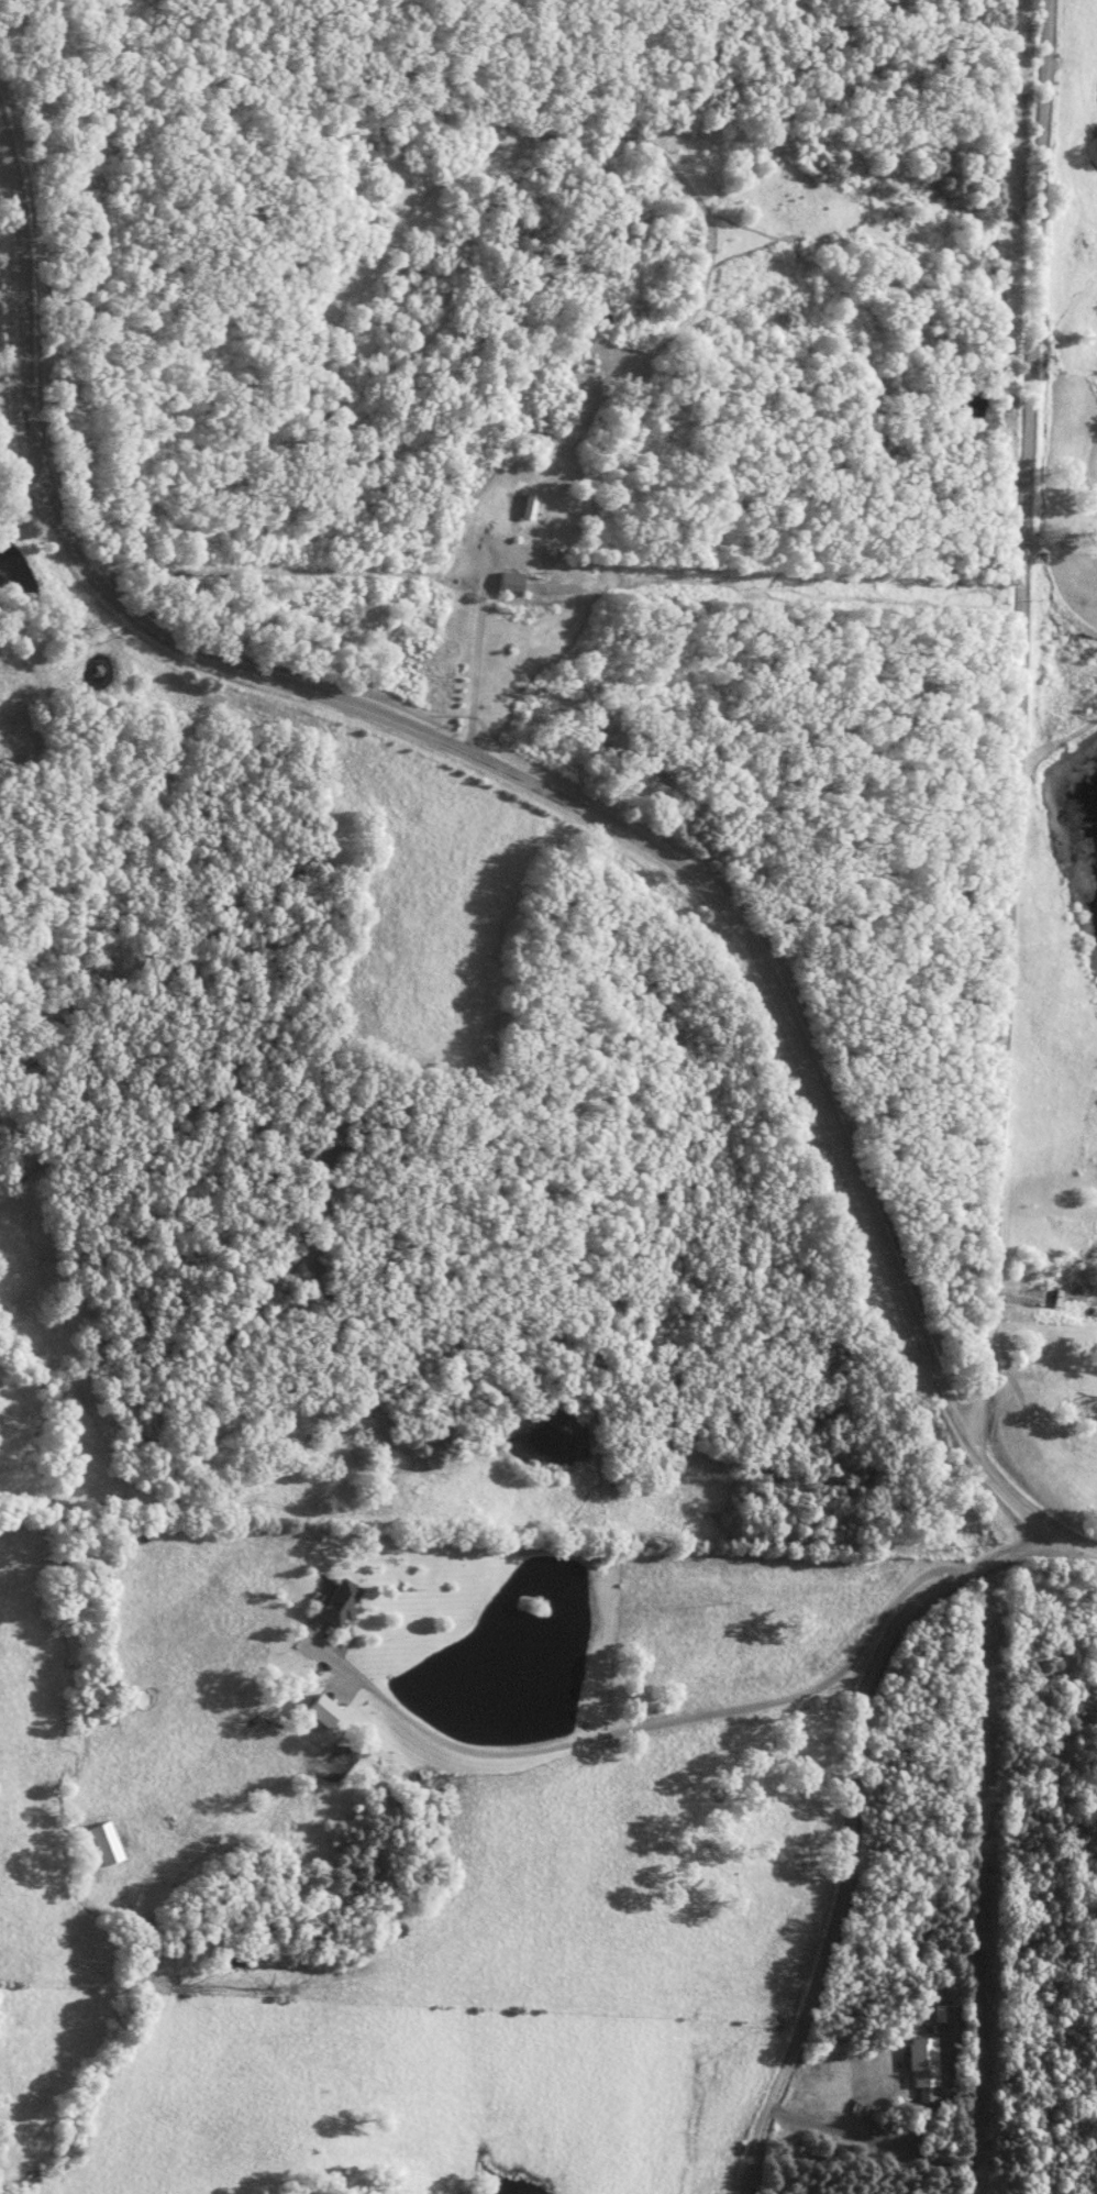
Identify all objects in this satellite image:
building: (502, 510)
road: (1059, 542)
building: (509, 584)
road: (1011, 721)
road: (547, 790)
building: (1052, 1296)
building: (340, 1602)
building: (323, 1710)
road: (663, 1723)
road: (851, 1816)

